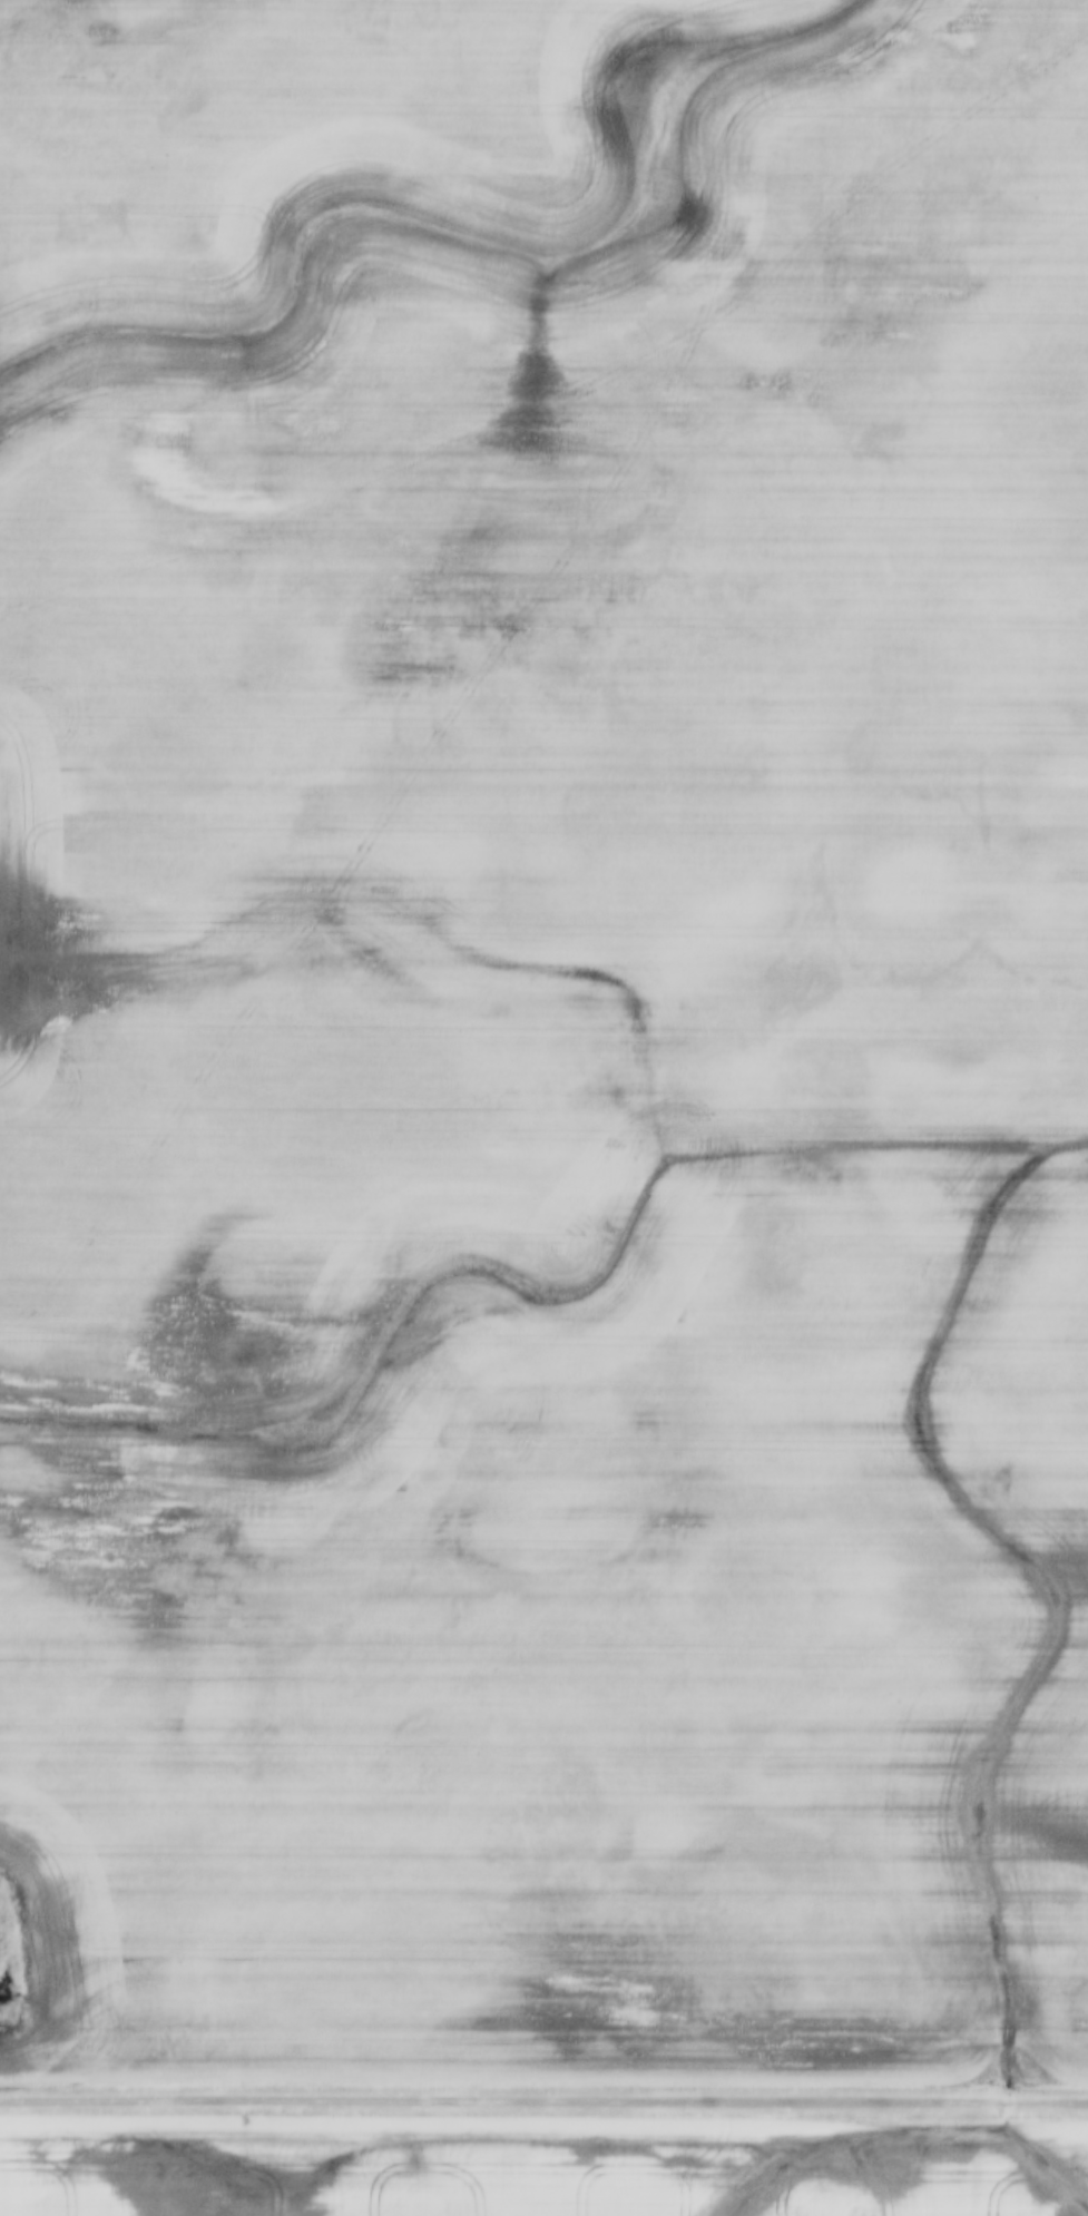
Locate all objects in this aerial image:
road: (543, 2106)

